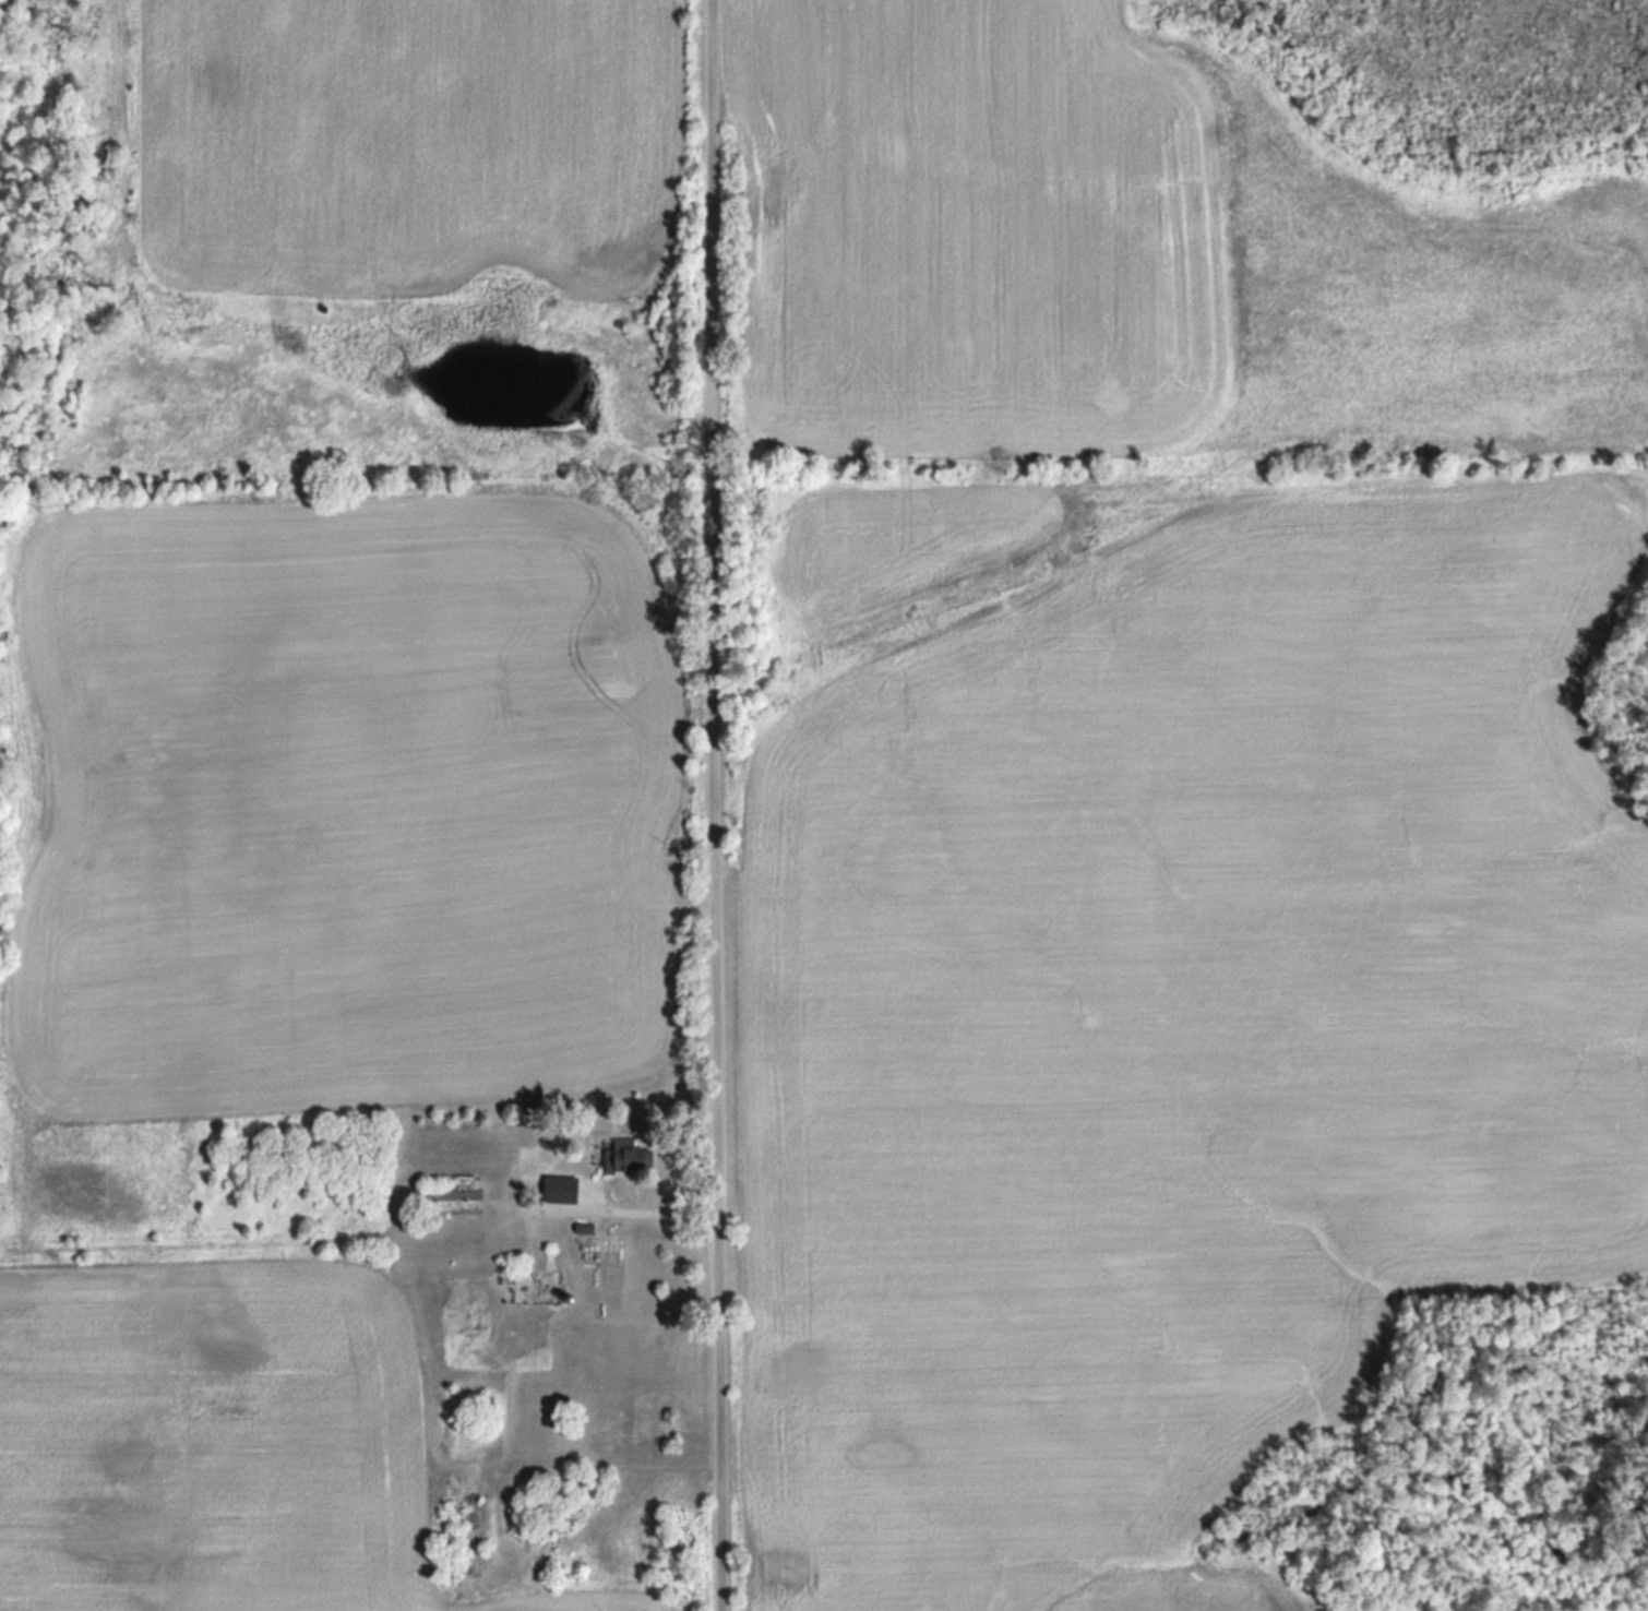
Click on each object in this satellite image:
road: (710, 806)
building: (632, 1151)
building: (454, 1194)
road: (650, 1202)
building: (541, 1286)

